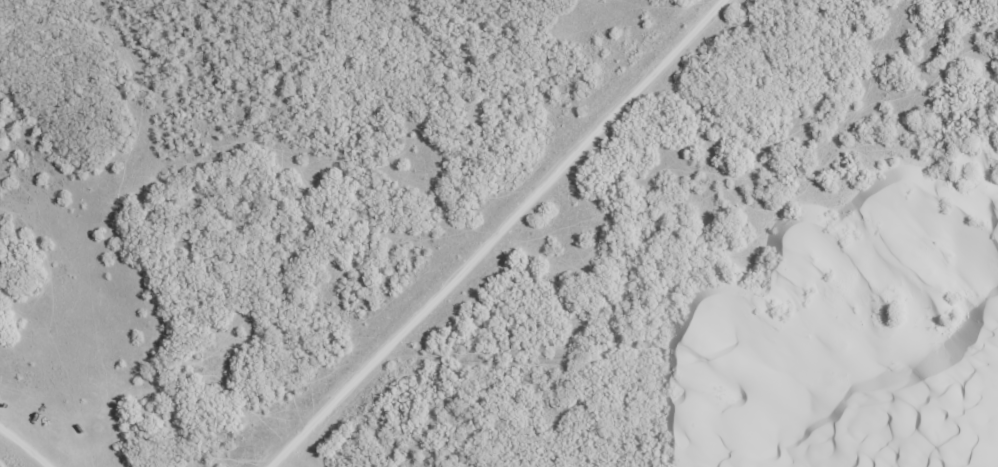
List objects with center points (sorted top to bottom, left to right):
road: (477, 243)
road: (696, 367)
road: (34, 440)

